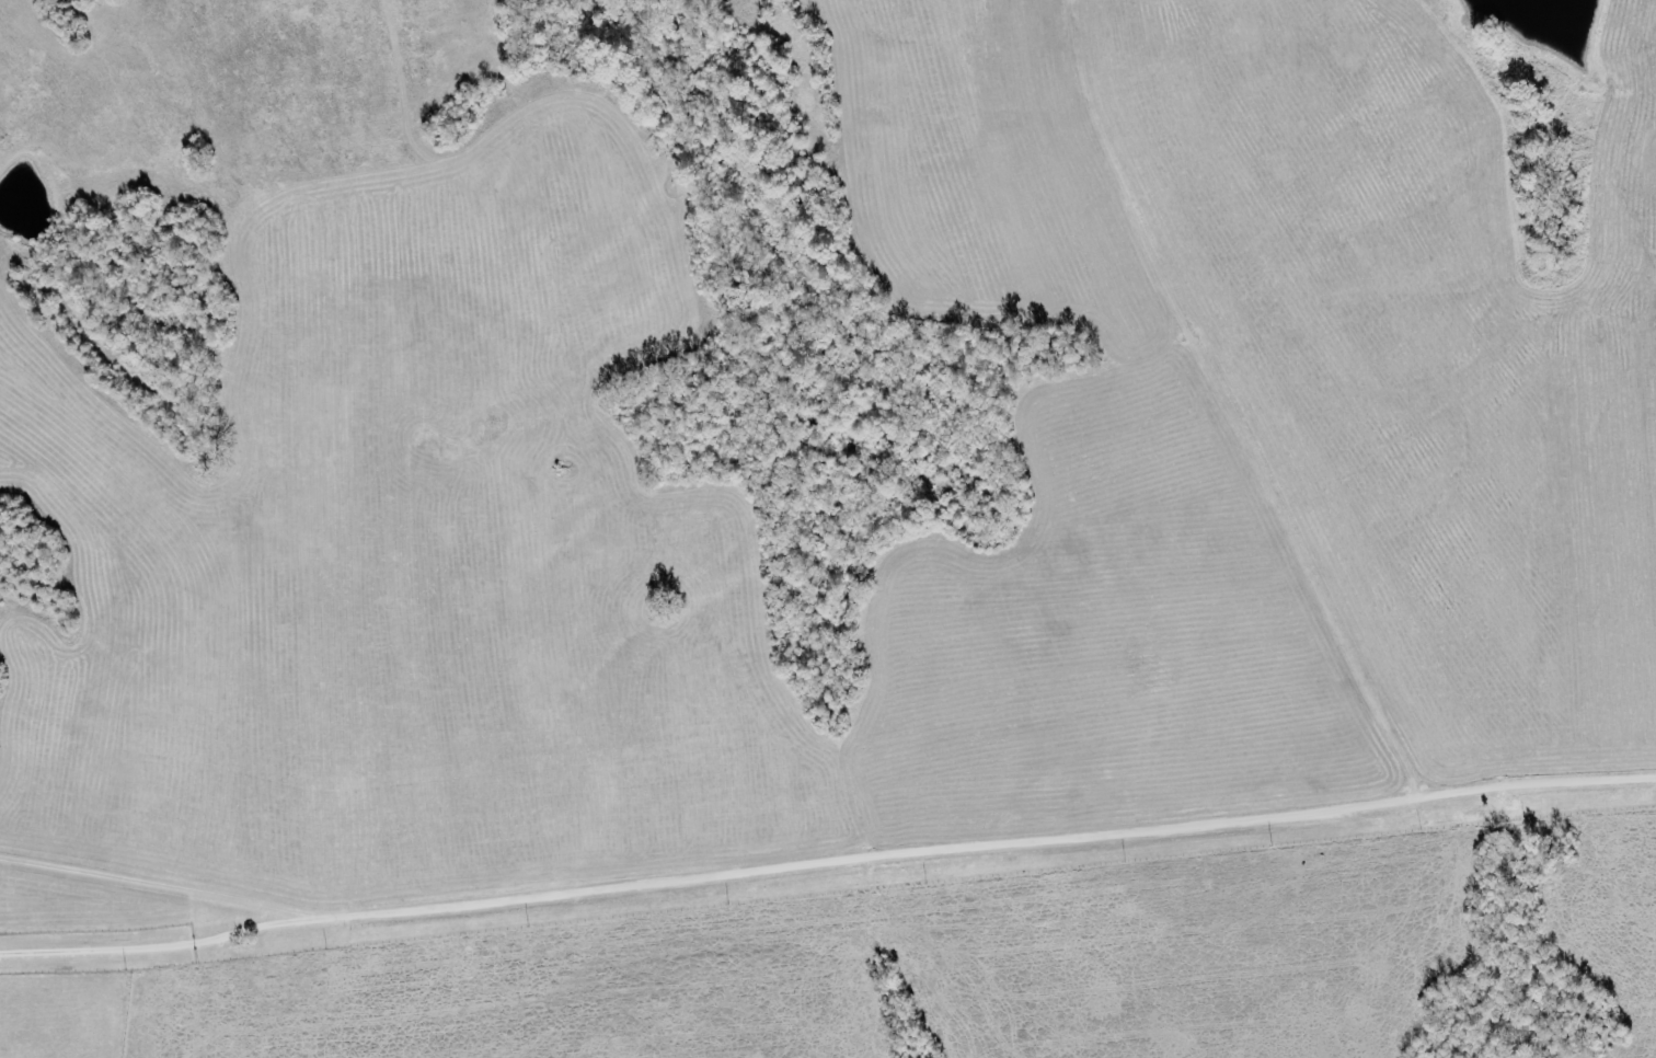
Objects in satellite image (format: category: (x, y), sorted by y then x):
road: (828, 862)

